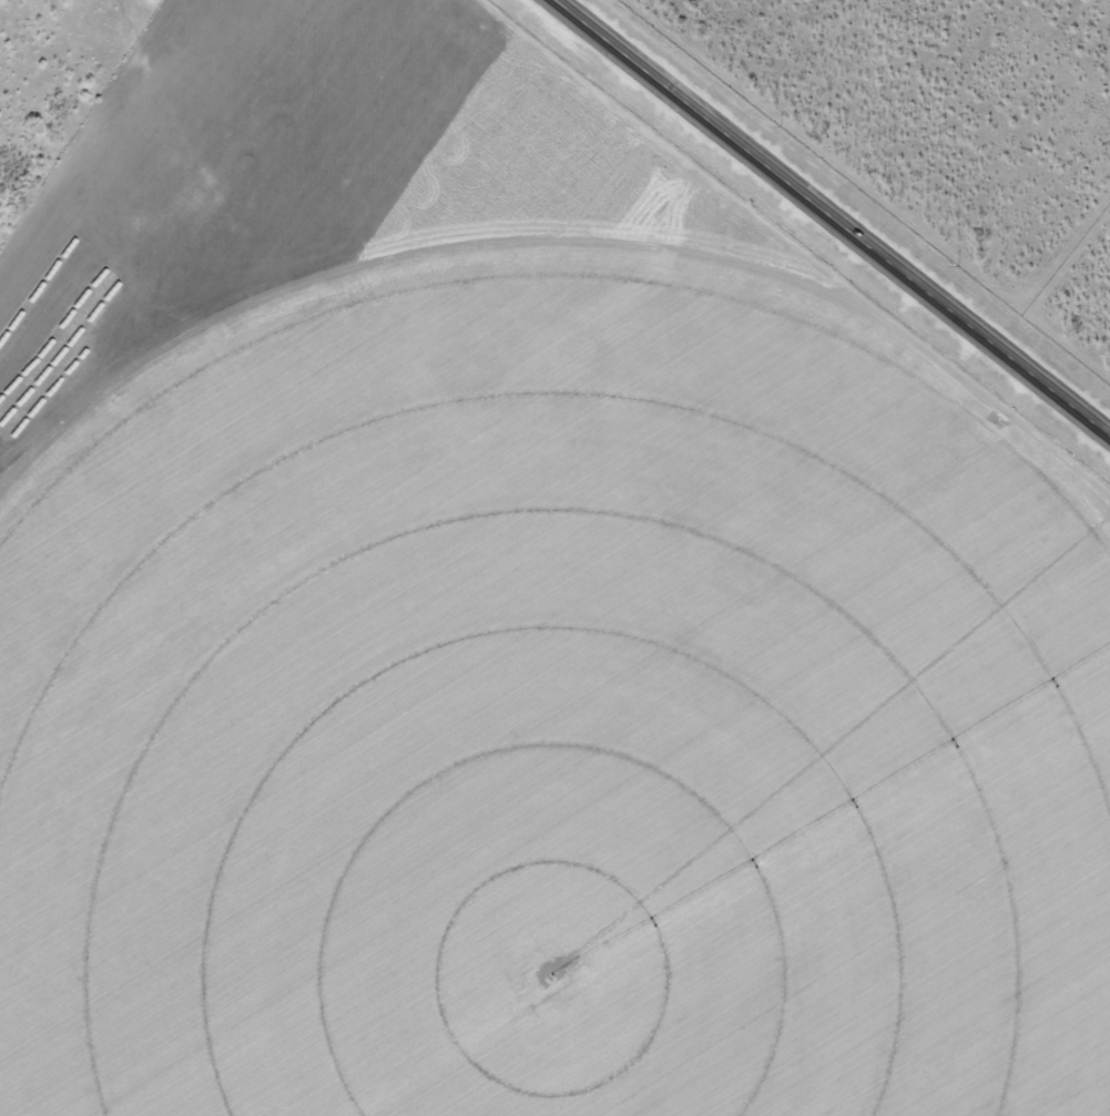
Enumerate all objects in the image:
railway: (862, 194)
road: (832, 217)

